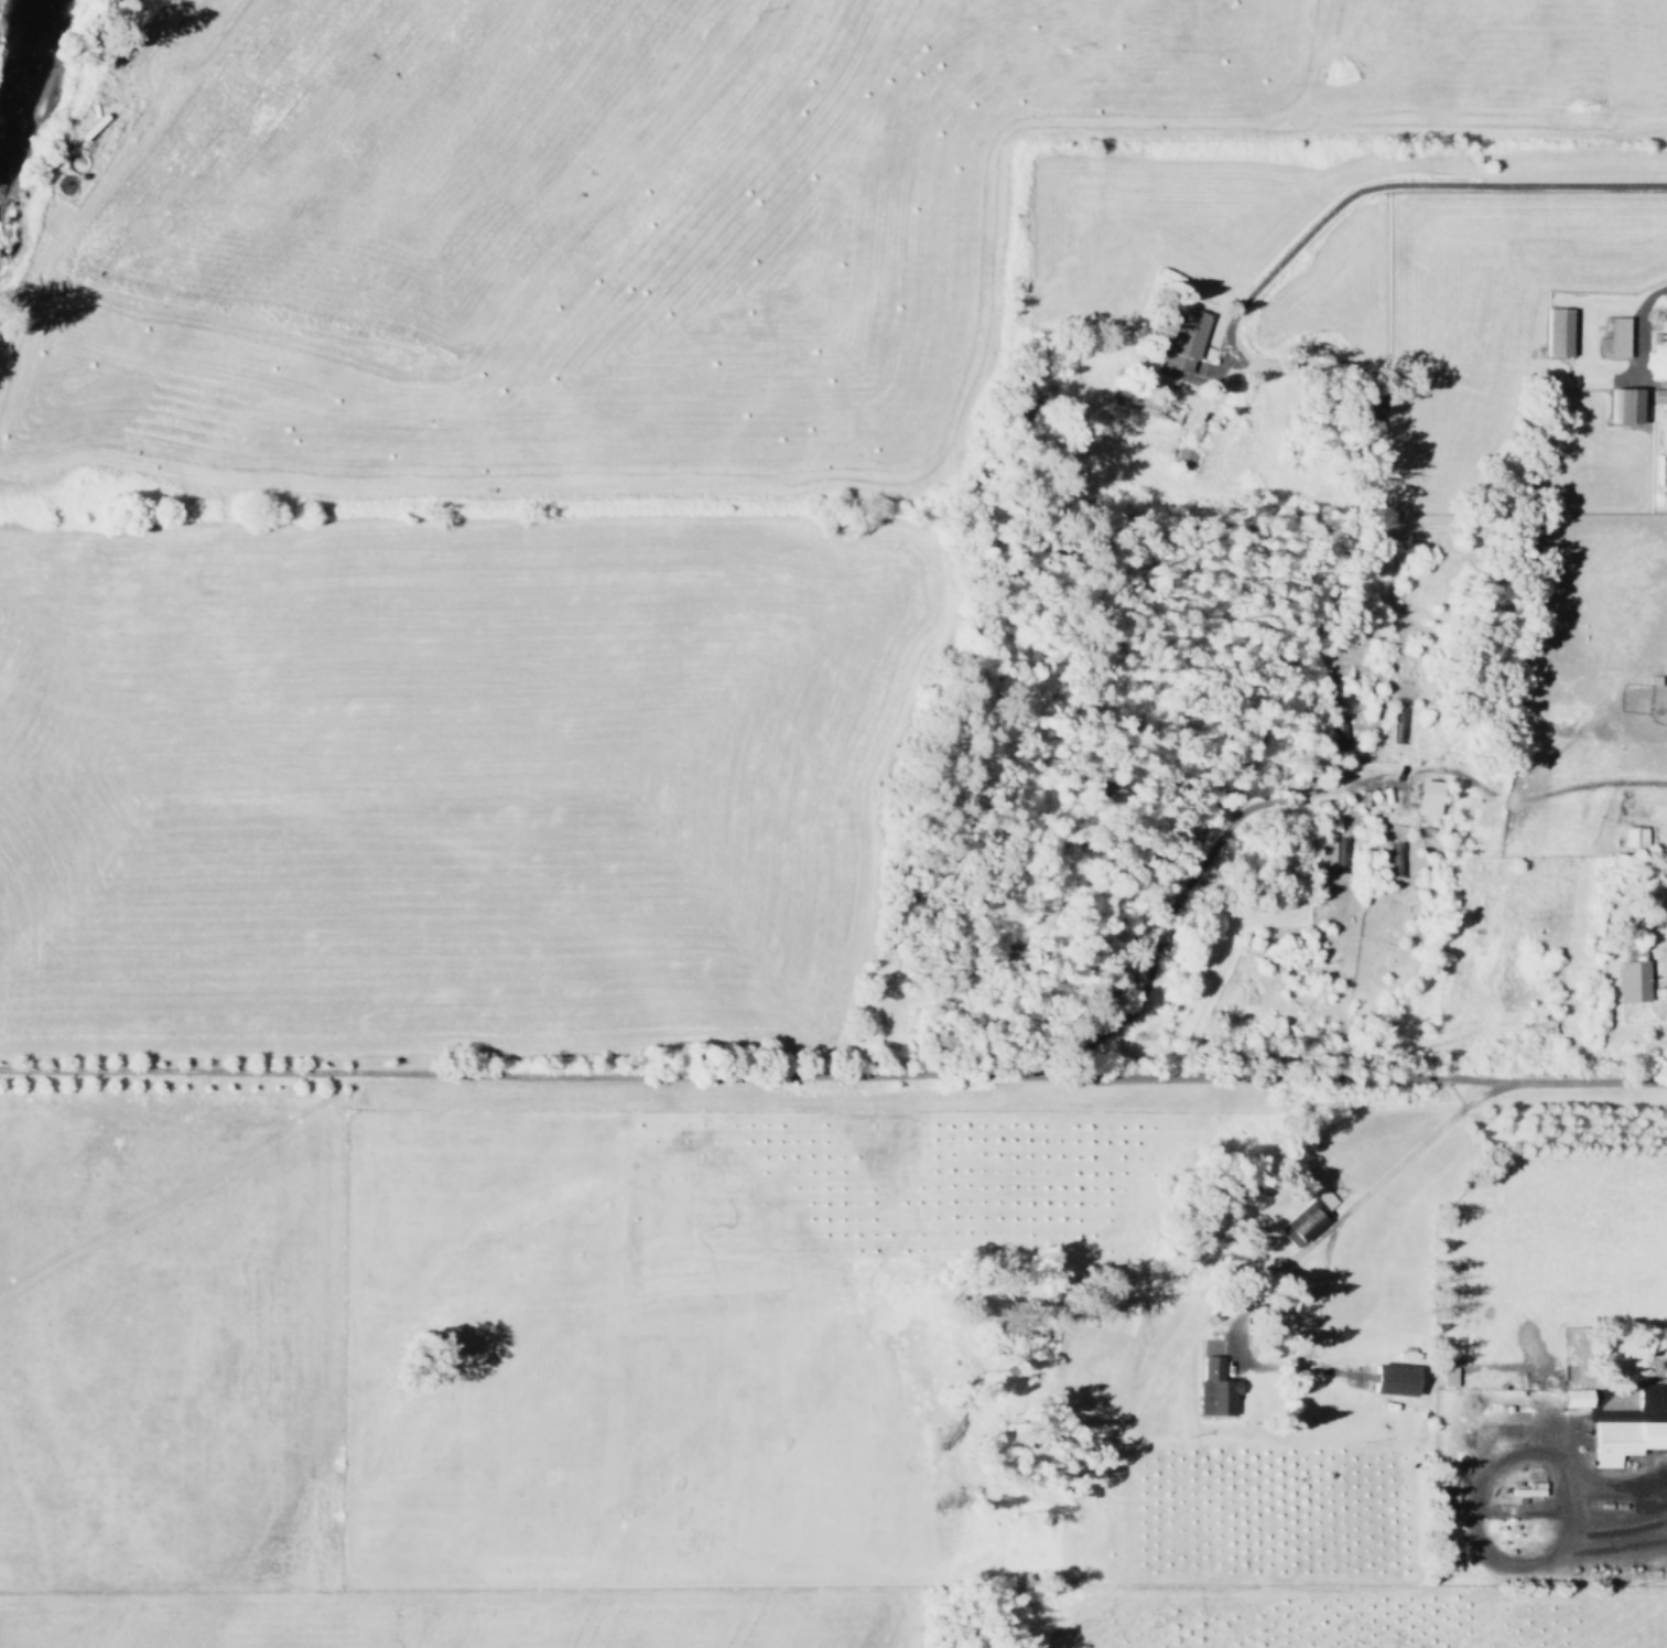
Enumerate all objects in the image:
road: (122, 67)
river: (33, 89)
building: (89, 126)
road: (1384, 184)
road: (1639, 327)
building: (1556, 332)
building: (1613, 338)
building: (1181, 340)
building: (1126, 392)
building: (1624, 406)
road: (1492, 794)
building: (1424, 807)
building: (1633, 836)
building: (1666, 924)
building: (1632, 980)
road: (833, 1074)
building: (1302, 1220)
road: (1278, 1270)
road: (1330, 1369)
building: (1448, 1375)
building: (1392, 1378)
building: (1216, 1387)
building: (1653, 1392)
building: (1576, 1398)
building: (1625, 1439)
road: (1630, 1485)
road: (1479, 1486)
building: (1528, 1488)

